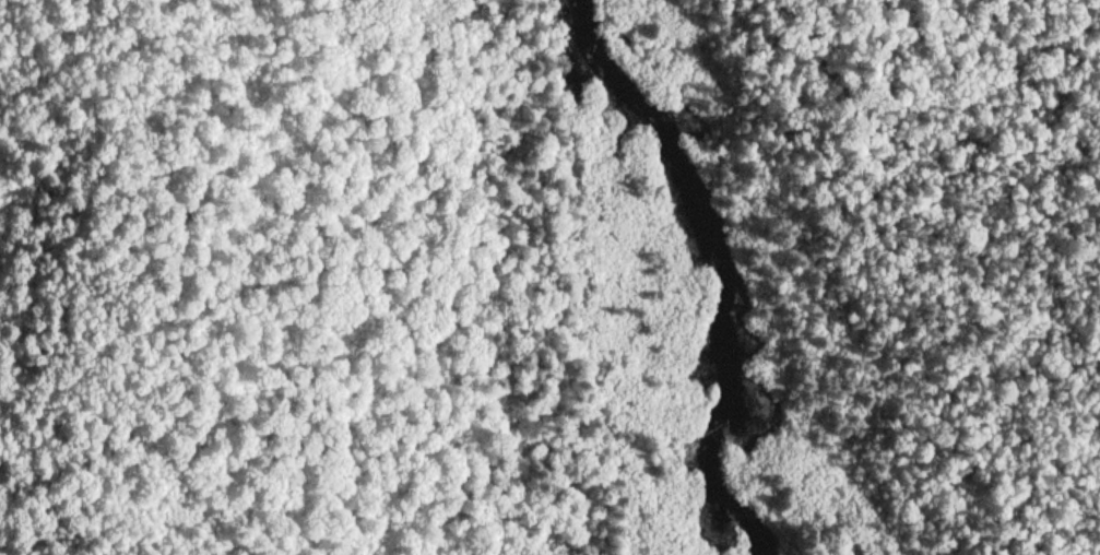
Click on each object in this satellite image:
river: (683, 286)

